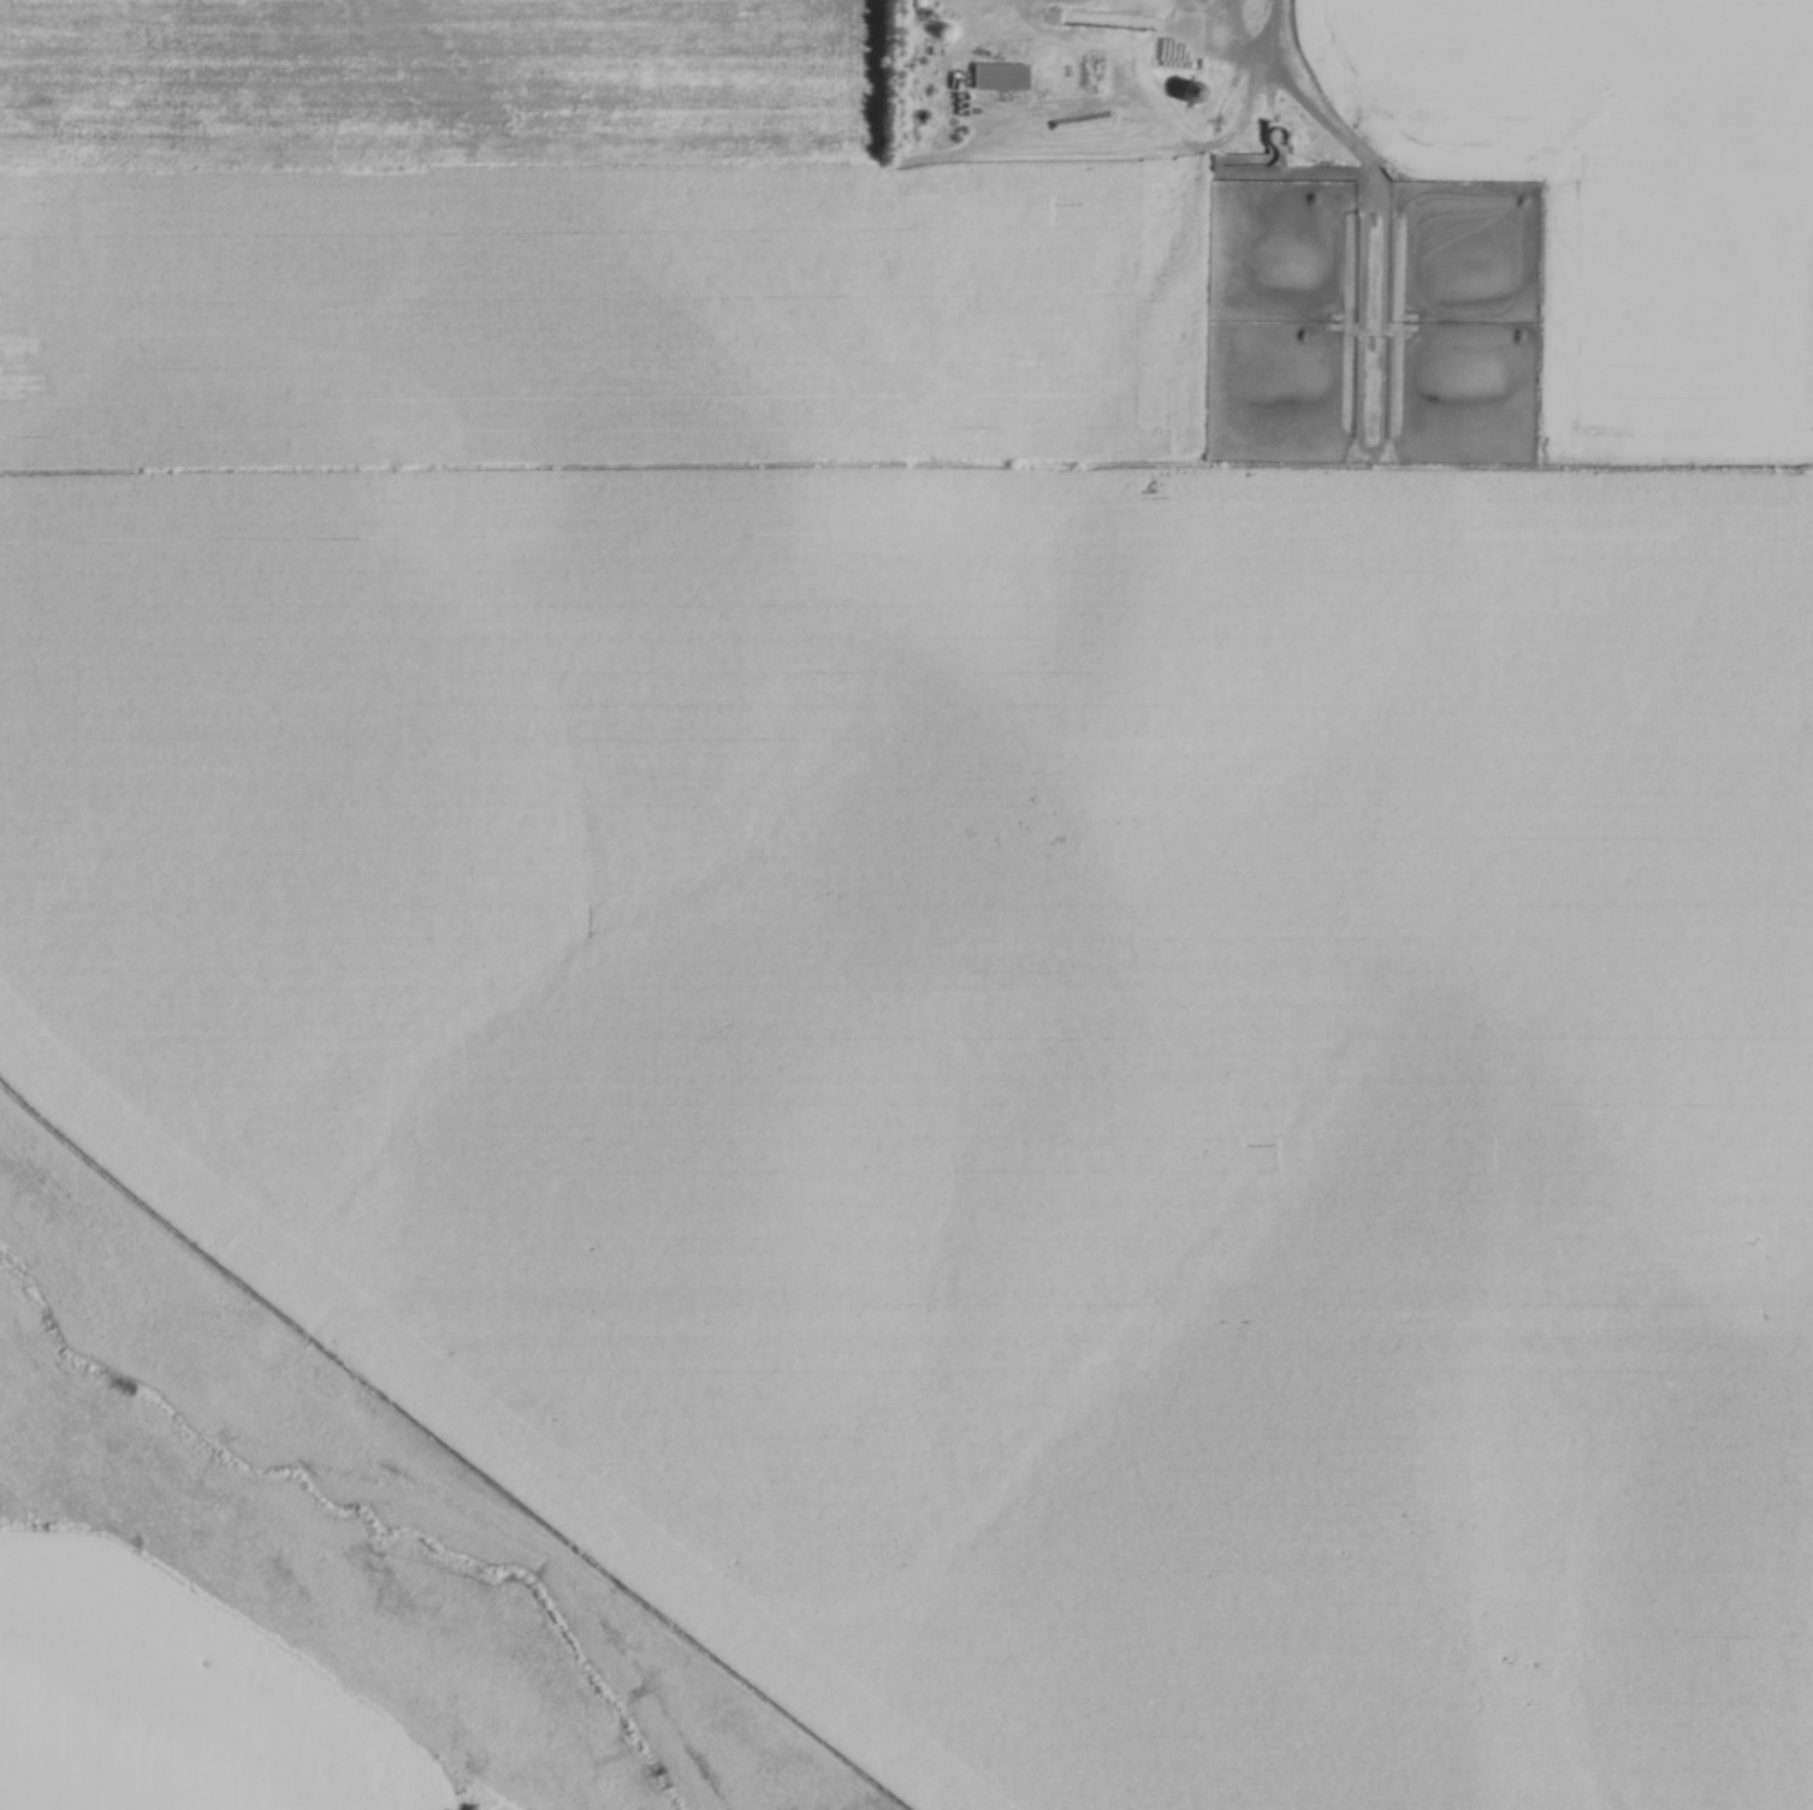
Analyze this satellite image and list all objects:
building: (1000, 77)

